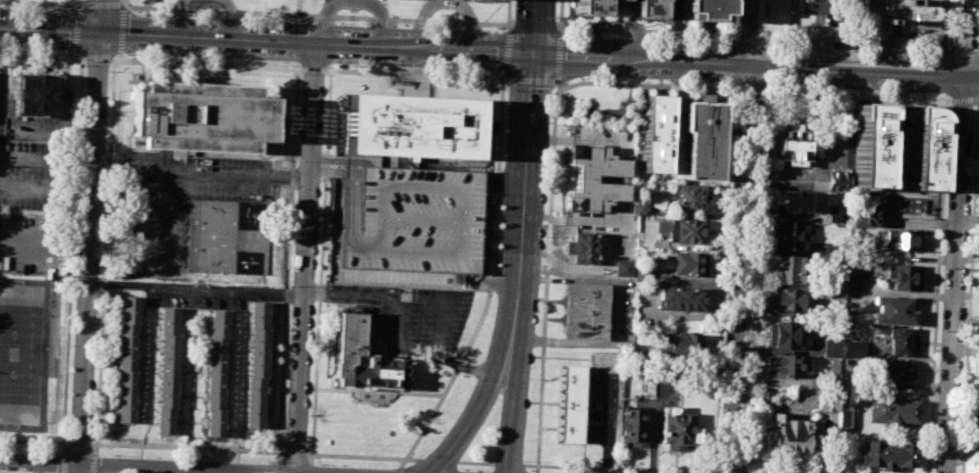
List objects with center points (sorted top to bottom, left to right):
road: (124, 1)
road: (352, 1)
road: (36, 2)
road: (75, 2)
building: (617, 2)
road: (446, 4)
road: (837, 4)
road: (100, 5)
street lamp: (64, 7)
building: (589, 7)
building: (645, 8)
building: (704, 9)
parking lot: (831, 10)
street lamp: (171, 13)
road: (509, 13)
road: (561, 14)
road: (314, 15)
parking lot: (904, 15)
road: (178, 17)
road: (230, 17)
street lamp: (557, 17)
road: (617, 17)
road: (733, 18)
street lamp: (287, 20)
road: (763, 22)
road: (948, 23)
road: (535, 26)
road: (76, 27)
road: (528, 27)
road: (121, 29)
road: (552, 29)
traffic signals: (98, 32)
road: (648, 32)
street lamp: (758, 32)
road: (898, 36)
street lamp: (666, 37)
road: (749, 37)
road: (733, 38)
road: (965, 38)
road: (267, 40)
street lamp: (769, 42)
road: (856, 42)
road: (965, 47)
street lamp: (879, 48)
road: (977, 48)
road: (947, 50)
road: (506, 52)
road: (74, 53)
traffic signals: (534, 53)
road: (42, 55)
road: (98, 56)
road: (116, 57)
street lamp: (167, 57)
road: (559, 57)
street lamp: (285, 63)
road: (733, 63)
road: (210, 64)
road: (761, 64)
road: (756, 65)
road: (313, 68)
street lamp: (495, 72)
road: (947, 73)
street lamp: (300, 75)
road: (532, 81)
street lamp: (664, 82)
road: (646, 85)
street lamp: (766, 86)
road: (744, 90)
street lamp: (505, 91)
street lamp: (880, 91)
street lamp: (552, 93)
road: (853, 95)
building: (40, 97)
road: (962, 100)
road: (975, 101)
park: (594, 109)
street lamp: (974, 109)
building: (203, 117)
building: (412, 126)
road: (528, 133)
building: (657, 133)
building: (703, 139)
building: (792, 143)
building: (897, 146)
road: (343, 158)
road: (36, 159)
street lamp: (504, 165)
street lamp: (547, 168)
parking lot: (32, 175)
road: (201, 175)
building: (592, 178)
building: (838, 181)
road: (23, 188)
road: (69, 191)
road: (498, 194)
building: (688, 198)
parking lot: (181, 203)
building: (797, 203)
building: (639, 208)
building: (836, 214)
building: (864, 214)
building: (612, 217)
road: (968, 219)
building: (409, 227)
parking garage: (409, 227)
building: (687, 230)
road: (88, 232)
park: (212, 236)
road: (536, 236)
road: (739, 236)
street lamp: (545, 237)
building: (790, 237)
building: (903, 239)
parking lot: (25, 245)
road: (45, 246)
building: (585, 248)
street lamp: (500, 251)
road: (71, 254)
road: (306, 257)
road: (321, 262)
building: (689, 263)
road: (156, 264)
road: (288, 266)
building: (623, 268)
building: (786, 270)
road: (955, 275)
building: (903, 276)
road: (547, 278)
road: (750, 278)
road: (724, 279)
building: (855, 281)
road: (937, 282)
road: (970, 283)
road: (196, 288)
building: (586, 292)
building: (837, 292)
road: (432, 297)
building: (681, 299)
building: (787, 302)
street lamp: (496, 307)
building: (894, 310)
street lamp: (538, 311)
building: (586, 311)
street lamp: (745, 315)
street lamp: (964, 319)
parking lot: (423, 321)
building: (585, 330)
building: (788, 335)
building: (900, 342)
road: (101, 343)
road: (395, 343)
road: (522, 344)
building: (682, 344)
building: (832, 345)
building: (853, 349)
park: (23, 351)
road: (497, 353)
building: (363, 357)
building: (127, 358)
building: (257, 365)
building: (786, 365)
building: (894, 369)
building: (166, 371)
building: (217, 373)
street lamp: (531, 378)
street lamp: (477, 379)
building: (571, 404)
building: (828, 404)
parking lot: (603, 407)
building: (846, 411)
building: (892, 411)
street lamp: (740, 421)
road: (607, 425)
building: (634, 428)
street lamp: (285, 430)
building: (679, 430)
flagpole: (392, 432)
building: (975, 432)
building: (788, 434)
street lamp: (92, 436)
road: (34, 441)
road: (96, 446)
road: (79, 448)
street lamp: (48, 452)
road: (296, 454)
building: (887, 454)
street lamp: (428, 455)
street lamp: (111, 456)
road: (363, 457)
road: (439, 460)
street lamp: (524, 460)
road: (62, 462)
street lamp: (267, 462)
road: (477, 462)
road: (94, 463)
street lamp: (316, 464)
road: (509, 464)
road: (125, 467)
street lamp: (388, 468)
road: (77, 469)
road: (279, 469)
road: (597, 469)
road: (397, 470)
street lamp: (475, 470)
road: (174, 471)
road: (197, 472)

